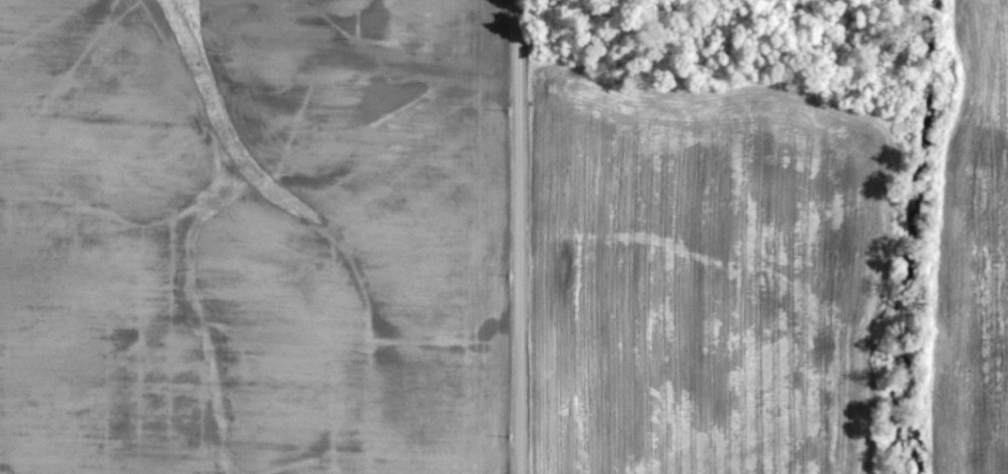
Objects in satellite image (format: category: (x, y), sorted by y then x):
road: (525, 237)

